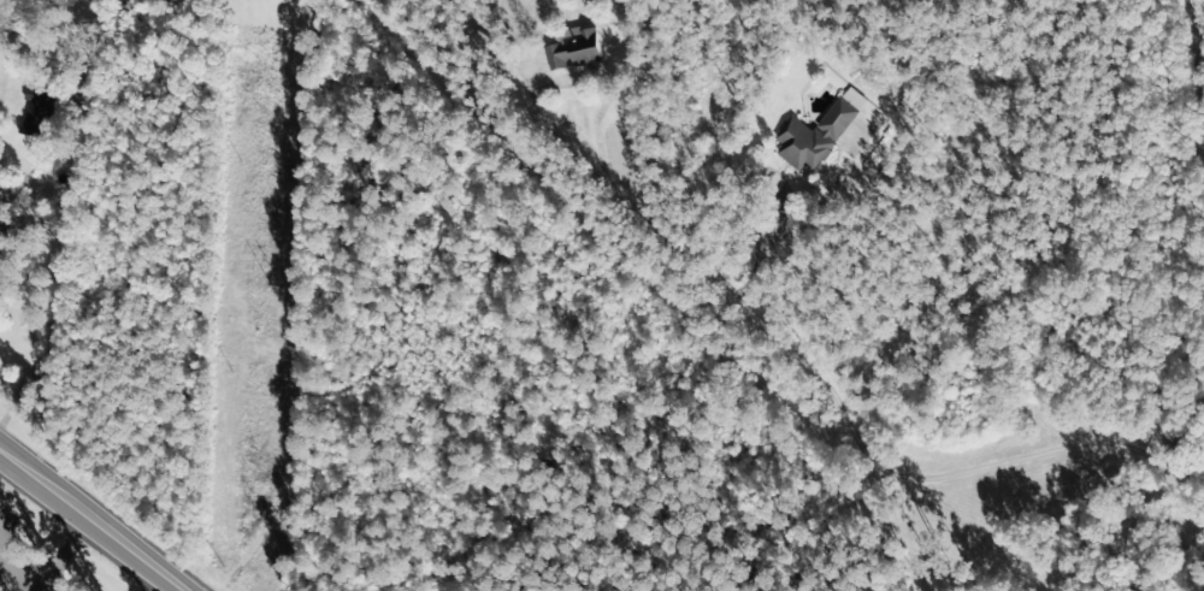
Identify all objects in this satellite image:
road: (1132, 48)
building: (567, 49)
building: (808, 136)
building: (2, 230)
building: (42, 368)
road: (93, 520)

